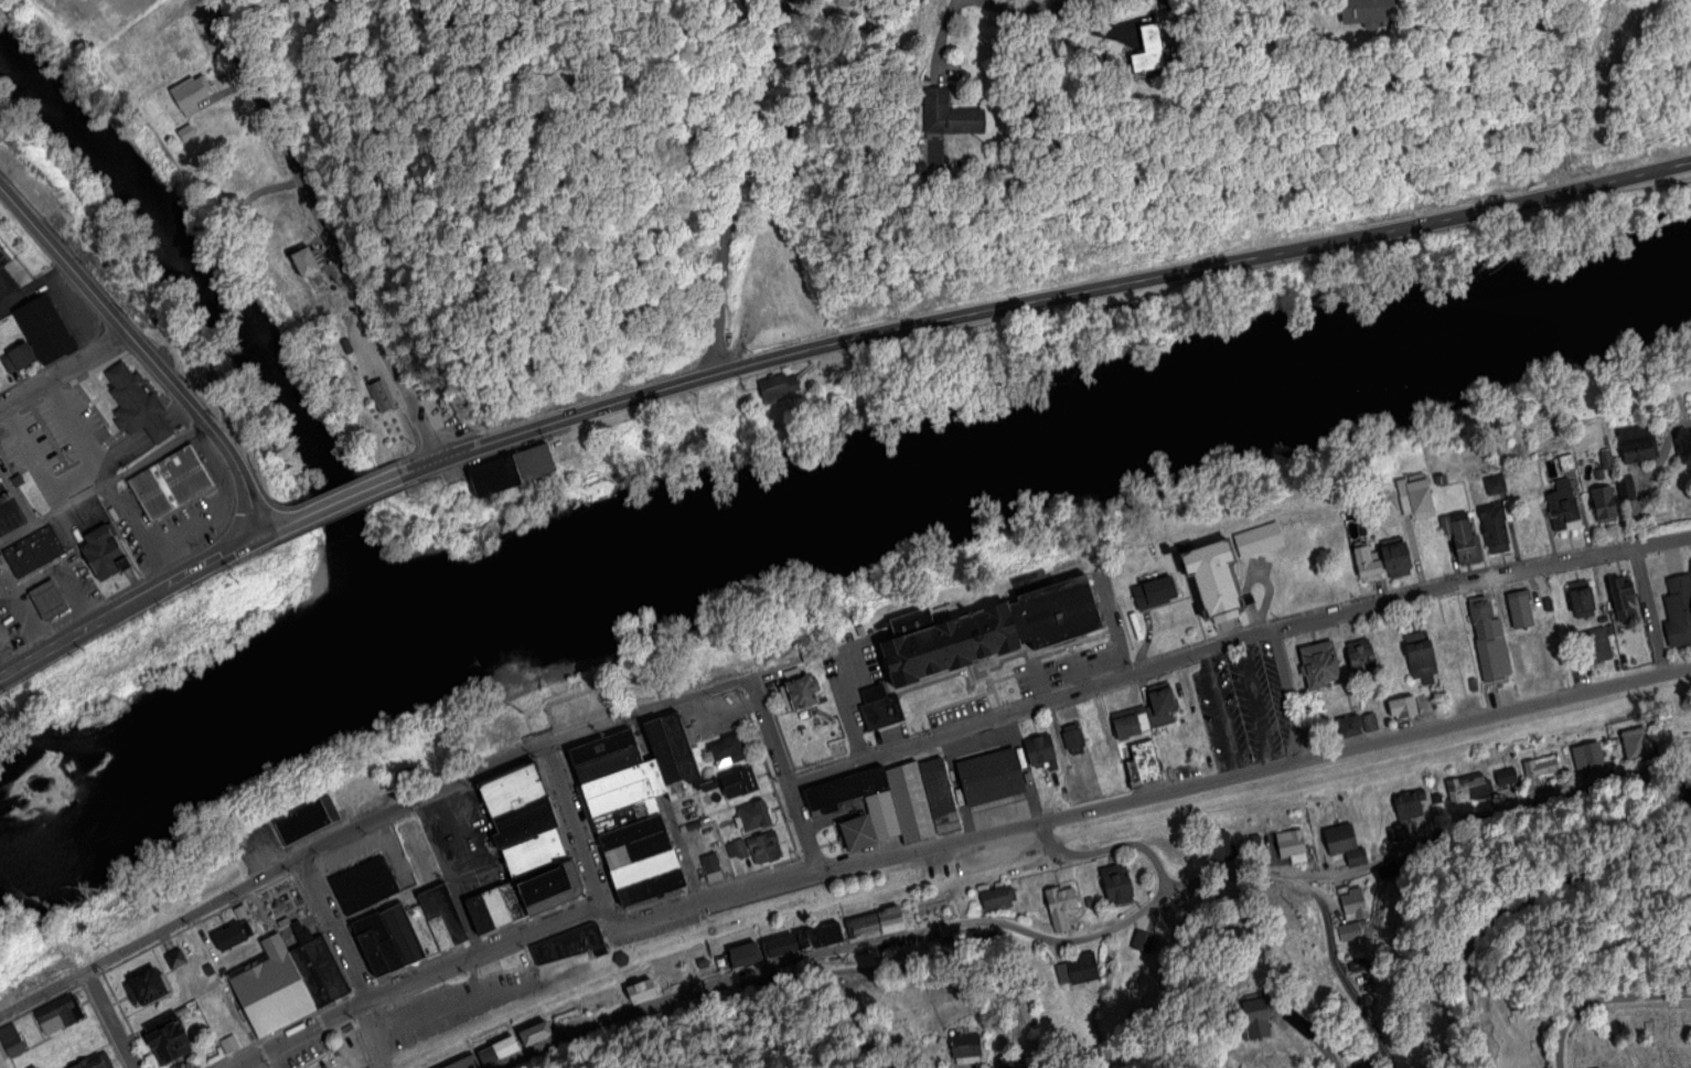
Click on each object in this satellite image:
road: (1030, 12)
building: (1377, 12)
building: (1147, 49)
building: (1158, 53)
building: (190, 94)
building: (959, 117)
building: (186, 133)
road: (727, 185)
road: (321, 229)
building: (306, 264)
road: (33, 286)
road: (7, 290)
road: (1059, 292)
road: (73, 313)
building: (44, 329)
road: (145, 353)
building: (17, 359)
road: (64, 370)
building: (774, 387)
building: (379, 394)
building: (130, 399)
road: (75, 431)
road: (141, 436)
building: (1636, 445)
building: (1687, 447)
road: (30, 457)
building: (536, 466)
road: (418, 468)
building: (496, 479)
building: (1441, 480)
road: (103, 483)
building: (171, 483)
building: (1495, 484)
river: (818, 485)
building: (1626, 487)
road: (352, 495)
building: (1415, 498)
building: (1603, 502)
building: (1563, 505)
road: (135, 506)
road: (190, 521)
road: (282, 524)
building: (1495, 528)
building: (1462, 537)
building: (1257, 541)
building: (32, 552)
building: (106, 555)
building: (1396, 559)
road: (206, 565)
building: (1367, 565)
road: (160, 566)
building: (1217, 574)
road: (1478, 584)
building: (1155, 591)
building: (1620, 594)
building: (49, 598)
building: (1583, 599)
building: (1524, 608)
road: (1648, 610)
building: (1678, 610)
building: (993, 629)
road: (76, 638)
building: (1489, 641)
building: (1596, 644)
building: (1452, 647)
building: (1420, 654)
building: (1361, 656)
building: (1318, 663)
road: (6, 664)
building: (805, 692)
road: (1283, 696)
building: (588, 706)
building: (1162, 707)
building: (1402, 707)
building: (879, 708)
road: (1028, 709)
road: (1494, 712)
building: (559, 717)
building: (1130, 723)
building: (1370, 723)
building: (1349, 727)
road: (768, 730)
building: (502, 737)
building: (1072, 739)
building: (1635, 740)
building: (488, 745)
building: (603, 746)
building: (683, 747)
building: (729, 749)
building: (1040, 751)
building: (1592, 758)
building: (668, 759)
building: (611, 763)
building: (1142, 763)
building: (1538, 771)
building: (1109, 775)
building: (1505, 775)
building: (991, 777)
building: (404, 779)
building: (616, 780)
building: (1687, 780)
building: (738, 783)
building: (363, 789)
building: (516, 789)
building: (847, 790)
building: (1073, 790)
building: (1467, 790)
building: (940, 795)
building: (622, 797)
building: (911, 803)
building: (1406, 803)
building: (885, 814)
building: (627, 815)
building: (754, 815)
building: (308, 819)
building: (526, 821)
road: (572, 824)
road: (364, 826)
road: (803, 829)
building: (633, 831)
building: (860, 833)
building: (1400, 833)
building: (413, 837)
building: (1220, 846)
building: (736, 847)
building: (764, 847)
building: (1342, 847)
building: (1289, 848)
building: (640, 850)
road: (1105, 852)
building: (535, 854)
building: (1181, 861)
building: (709, 862)
building: (646, 868)
road: (816, 871)
building: (1383, 872)
road: (448, 877)
building: (1116, 884)
building: (364, 886)
building: (552, 887)
building: (653, 887)
building: (995, 899)
building: (496, 908)
building: (1059, 908)
road: (1530, 909)
building: (1352, 915)
building: (442, 916)
building: (890, 919)
building: (860, 925)
building: (424, 929)
road: (333, 931)
building: (403, 932)
road: (1105, 934)
building: (229, 937)
building: (820, 939)
building: (1142, 941)
building: (570, 943)
building: (378, 944)
building: (778, 949)
building: (743, 955)
building: (174, 959)
building: (620, 959)
building: (504, 962)
road: (933, 963)
building: (700, 965)
building: (319, 971)
building: (1077, 971)
road: (1335, 972)
building: (146, 987)
building: (270, 991)
building: (640, 992)
road: (1603, 998)
building: (60, 1013)
building: (1263, 1017)
road: (106, 1021)
building: (1298, 1023)
building: (535, 1035)
park: (1584, 1035)
road: (307, 1036)
road: (371, 1036)
building: (165, 1038)
building: (968, 1044)
building: (13, 1045)
road: (1323, 1049)
building: (497, 1053)
building: (1004, 1060)
building: (1358, 1061)
building: (92, 1062)
building: (463, 1062)
building: (1232, 1062)

